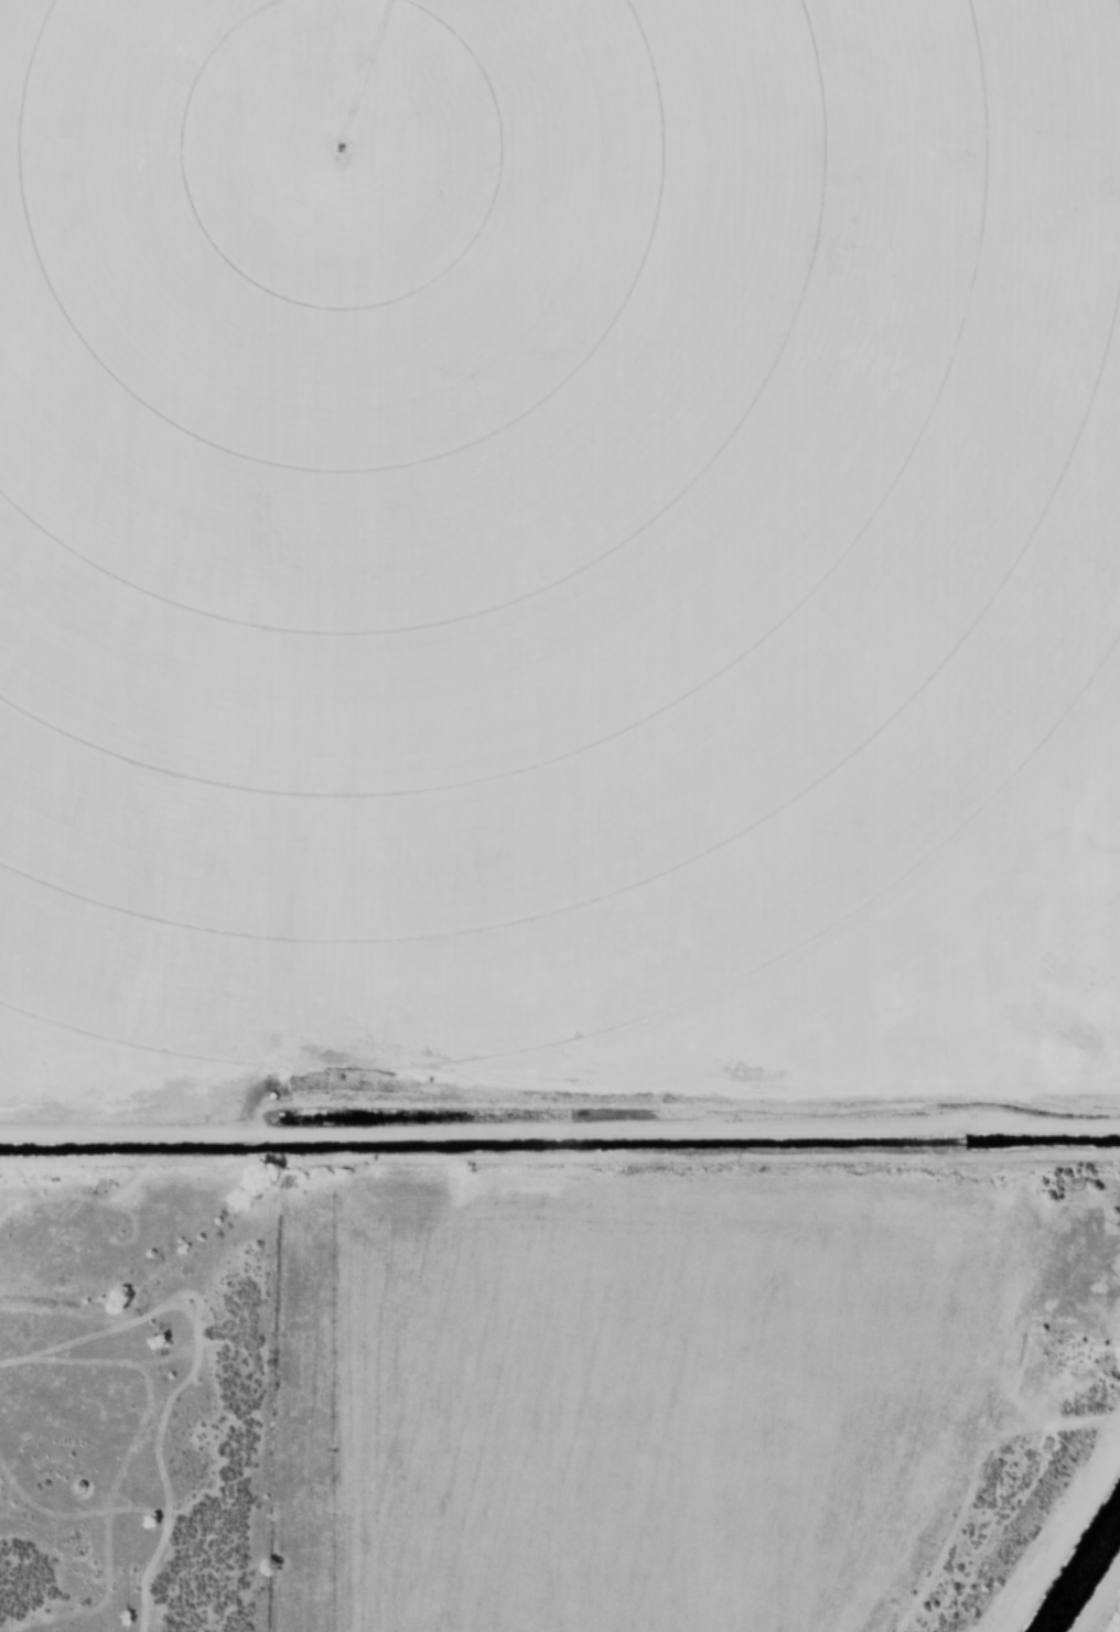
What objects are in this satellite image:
crop: (530, 521)
crop: (98, 1112)

